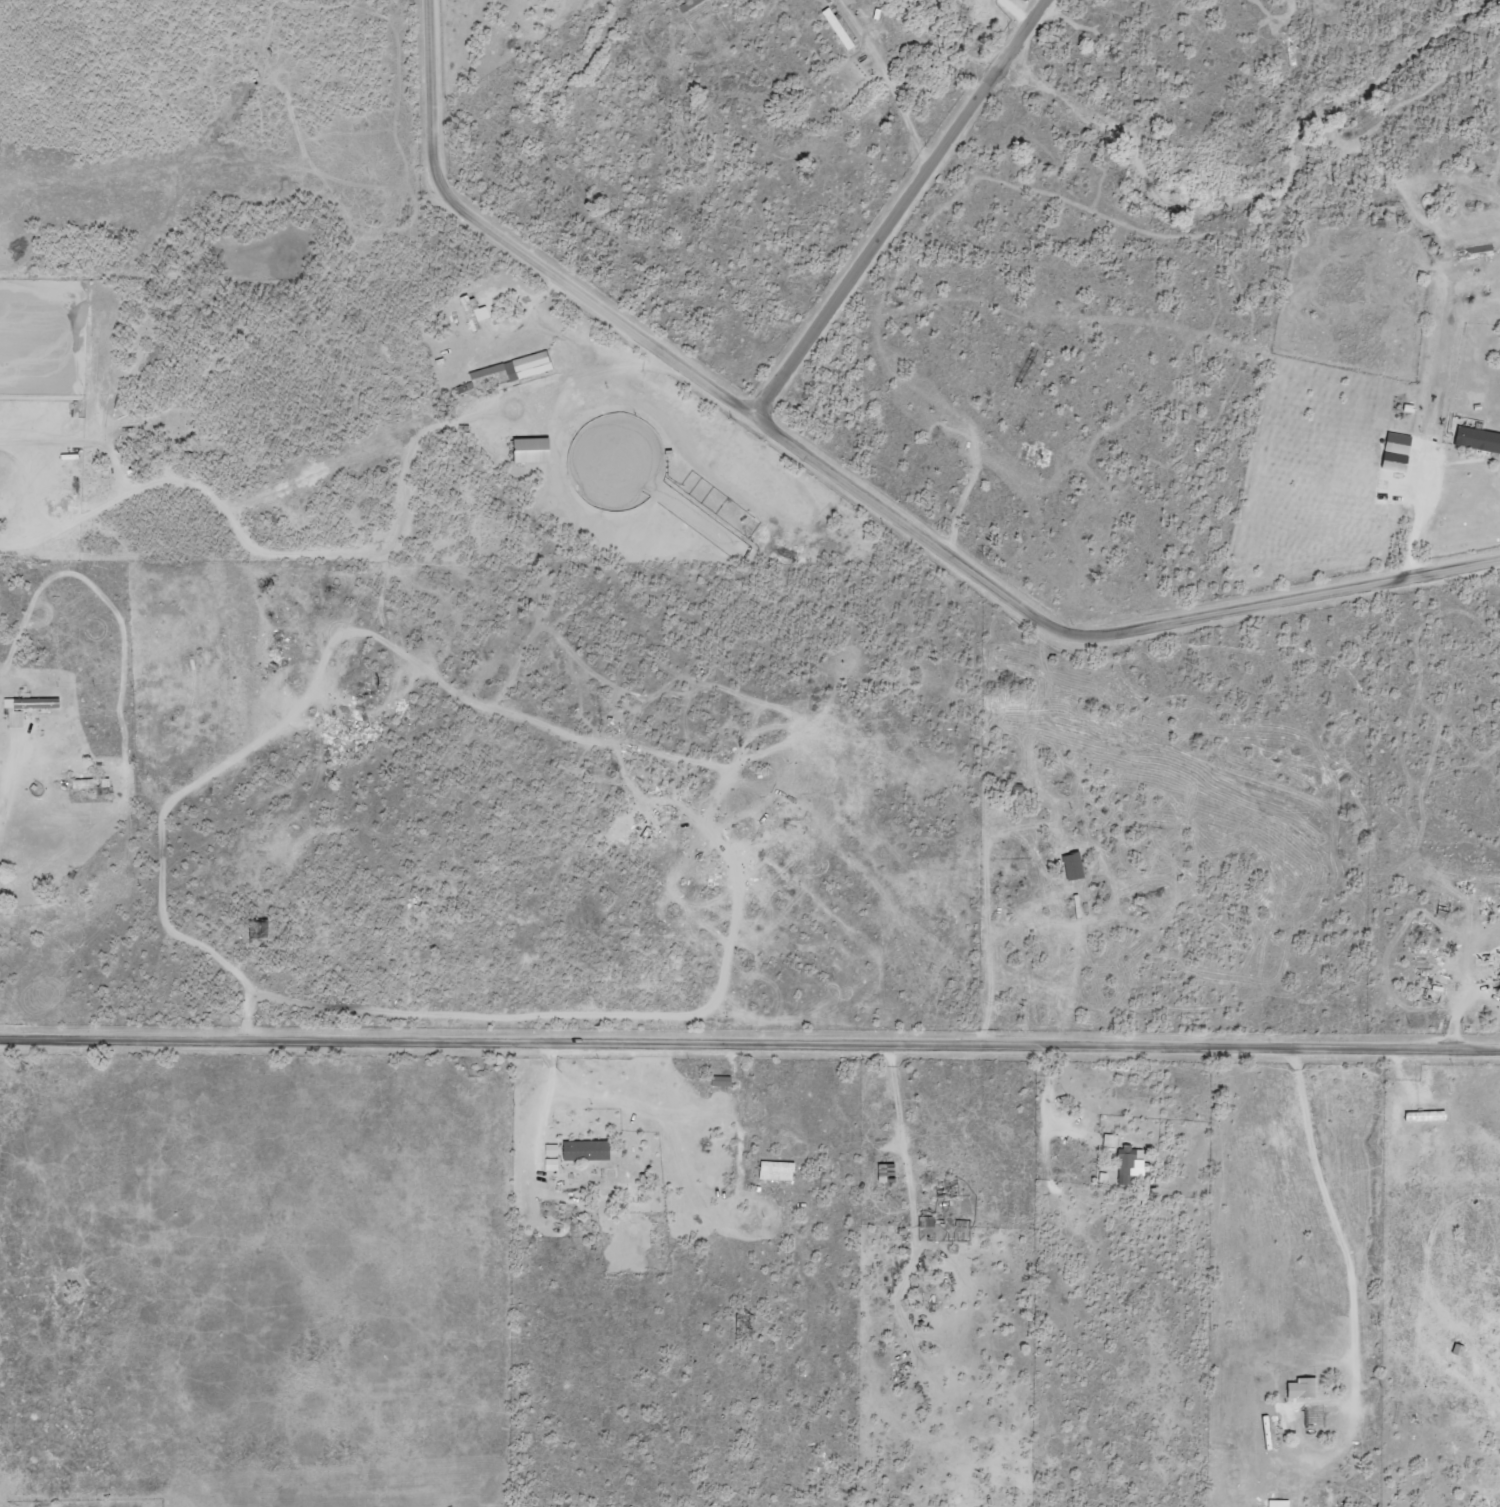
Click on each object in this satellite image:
road: (896, 206)
building: (1479, 251)
building: (472, 312)
building: (518, 367)
building: (1477, 439)
building: (529, 450)
building: (1395, 452)
road: (853, 489)
building: (25, 708)
building: (91, 784)
building: (1072, 866)
road: (750, 1043)
building: (720, 1081)
building: (1110, 1141)
building: (550, 1150)
building: (585, 1151)
building: (550, 1165)
building: (1128, 1165)
building: (775, 1171)
building: (885, 1174)
building: (925, 1222)
building: (1461, 1346)
building: (1301, 1389)
building: (1277, 1504)

